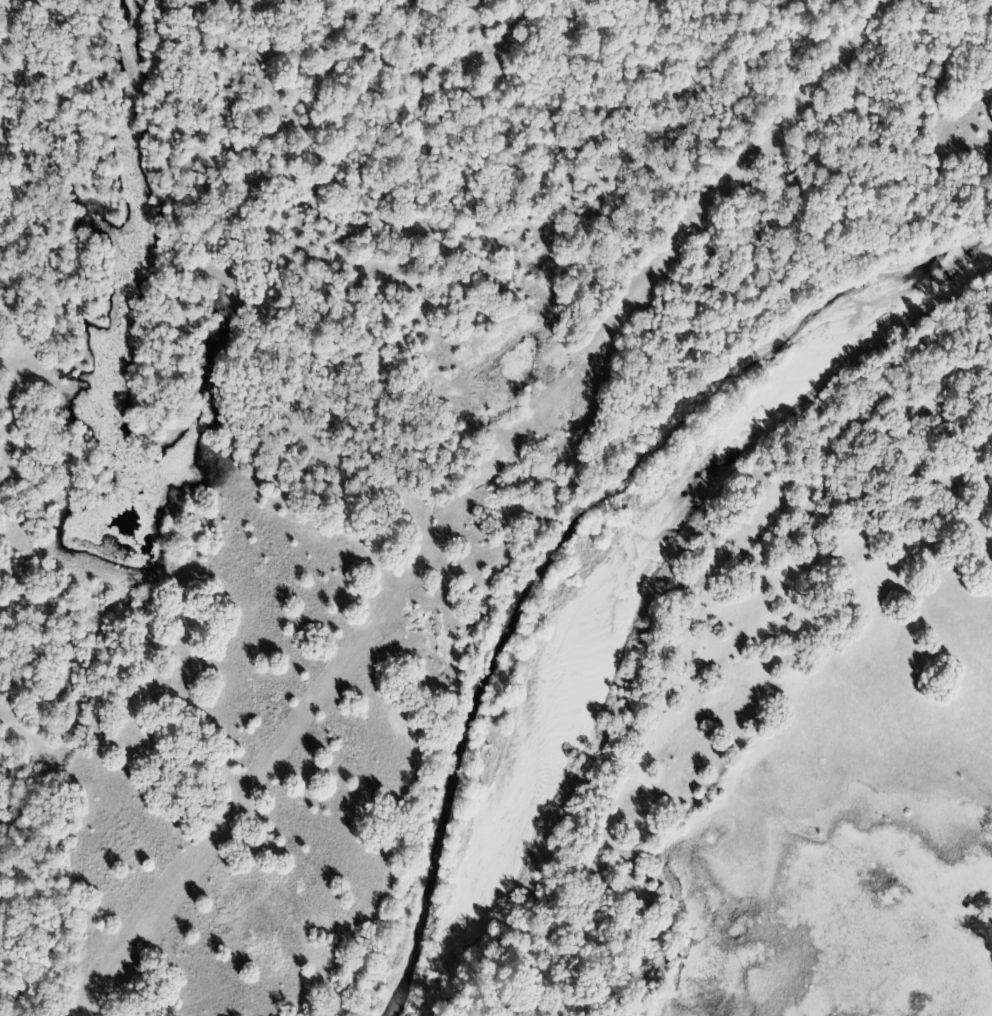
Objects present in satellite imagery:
road: (693, 216)

